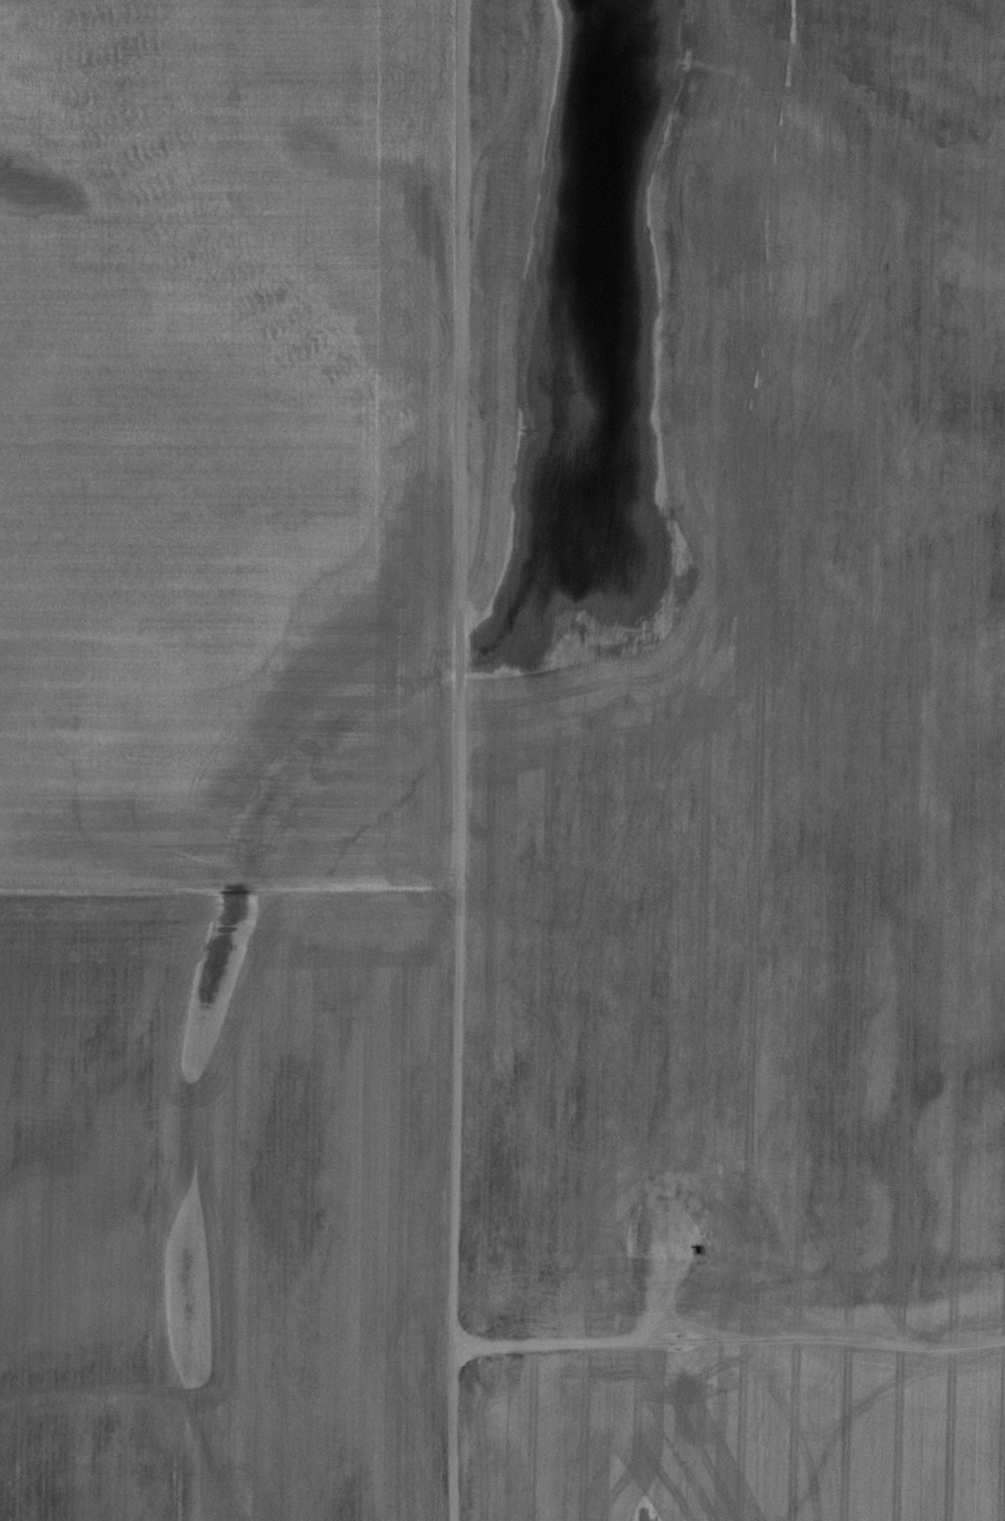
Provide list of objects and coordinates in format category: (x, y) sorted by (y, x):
road: (457, 760)
road: (228, 892)
road: (721, 1343)

